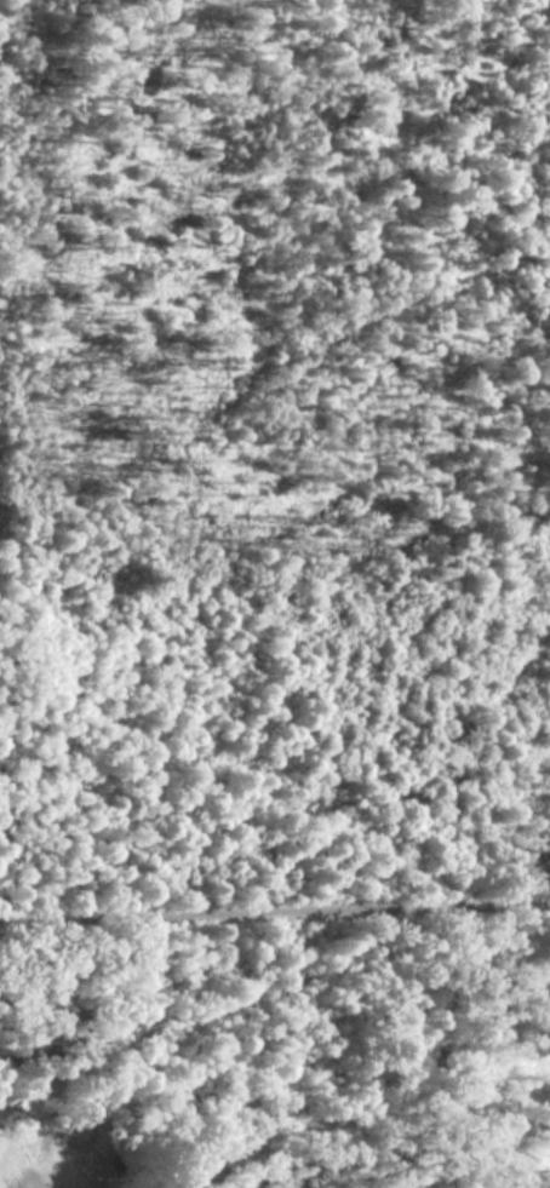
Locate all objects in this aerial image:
road: (275, 922)

